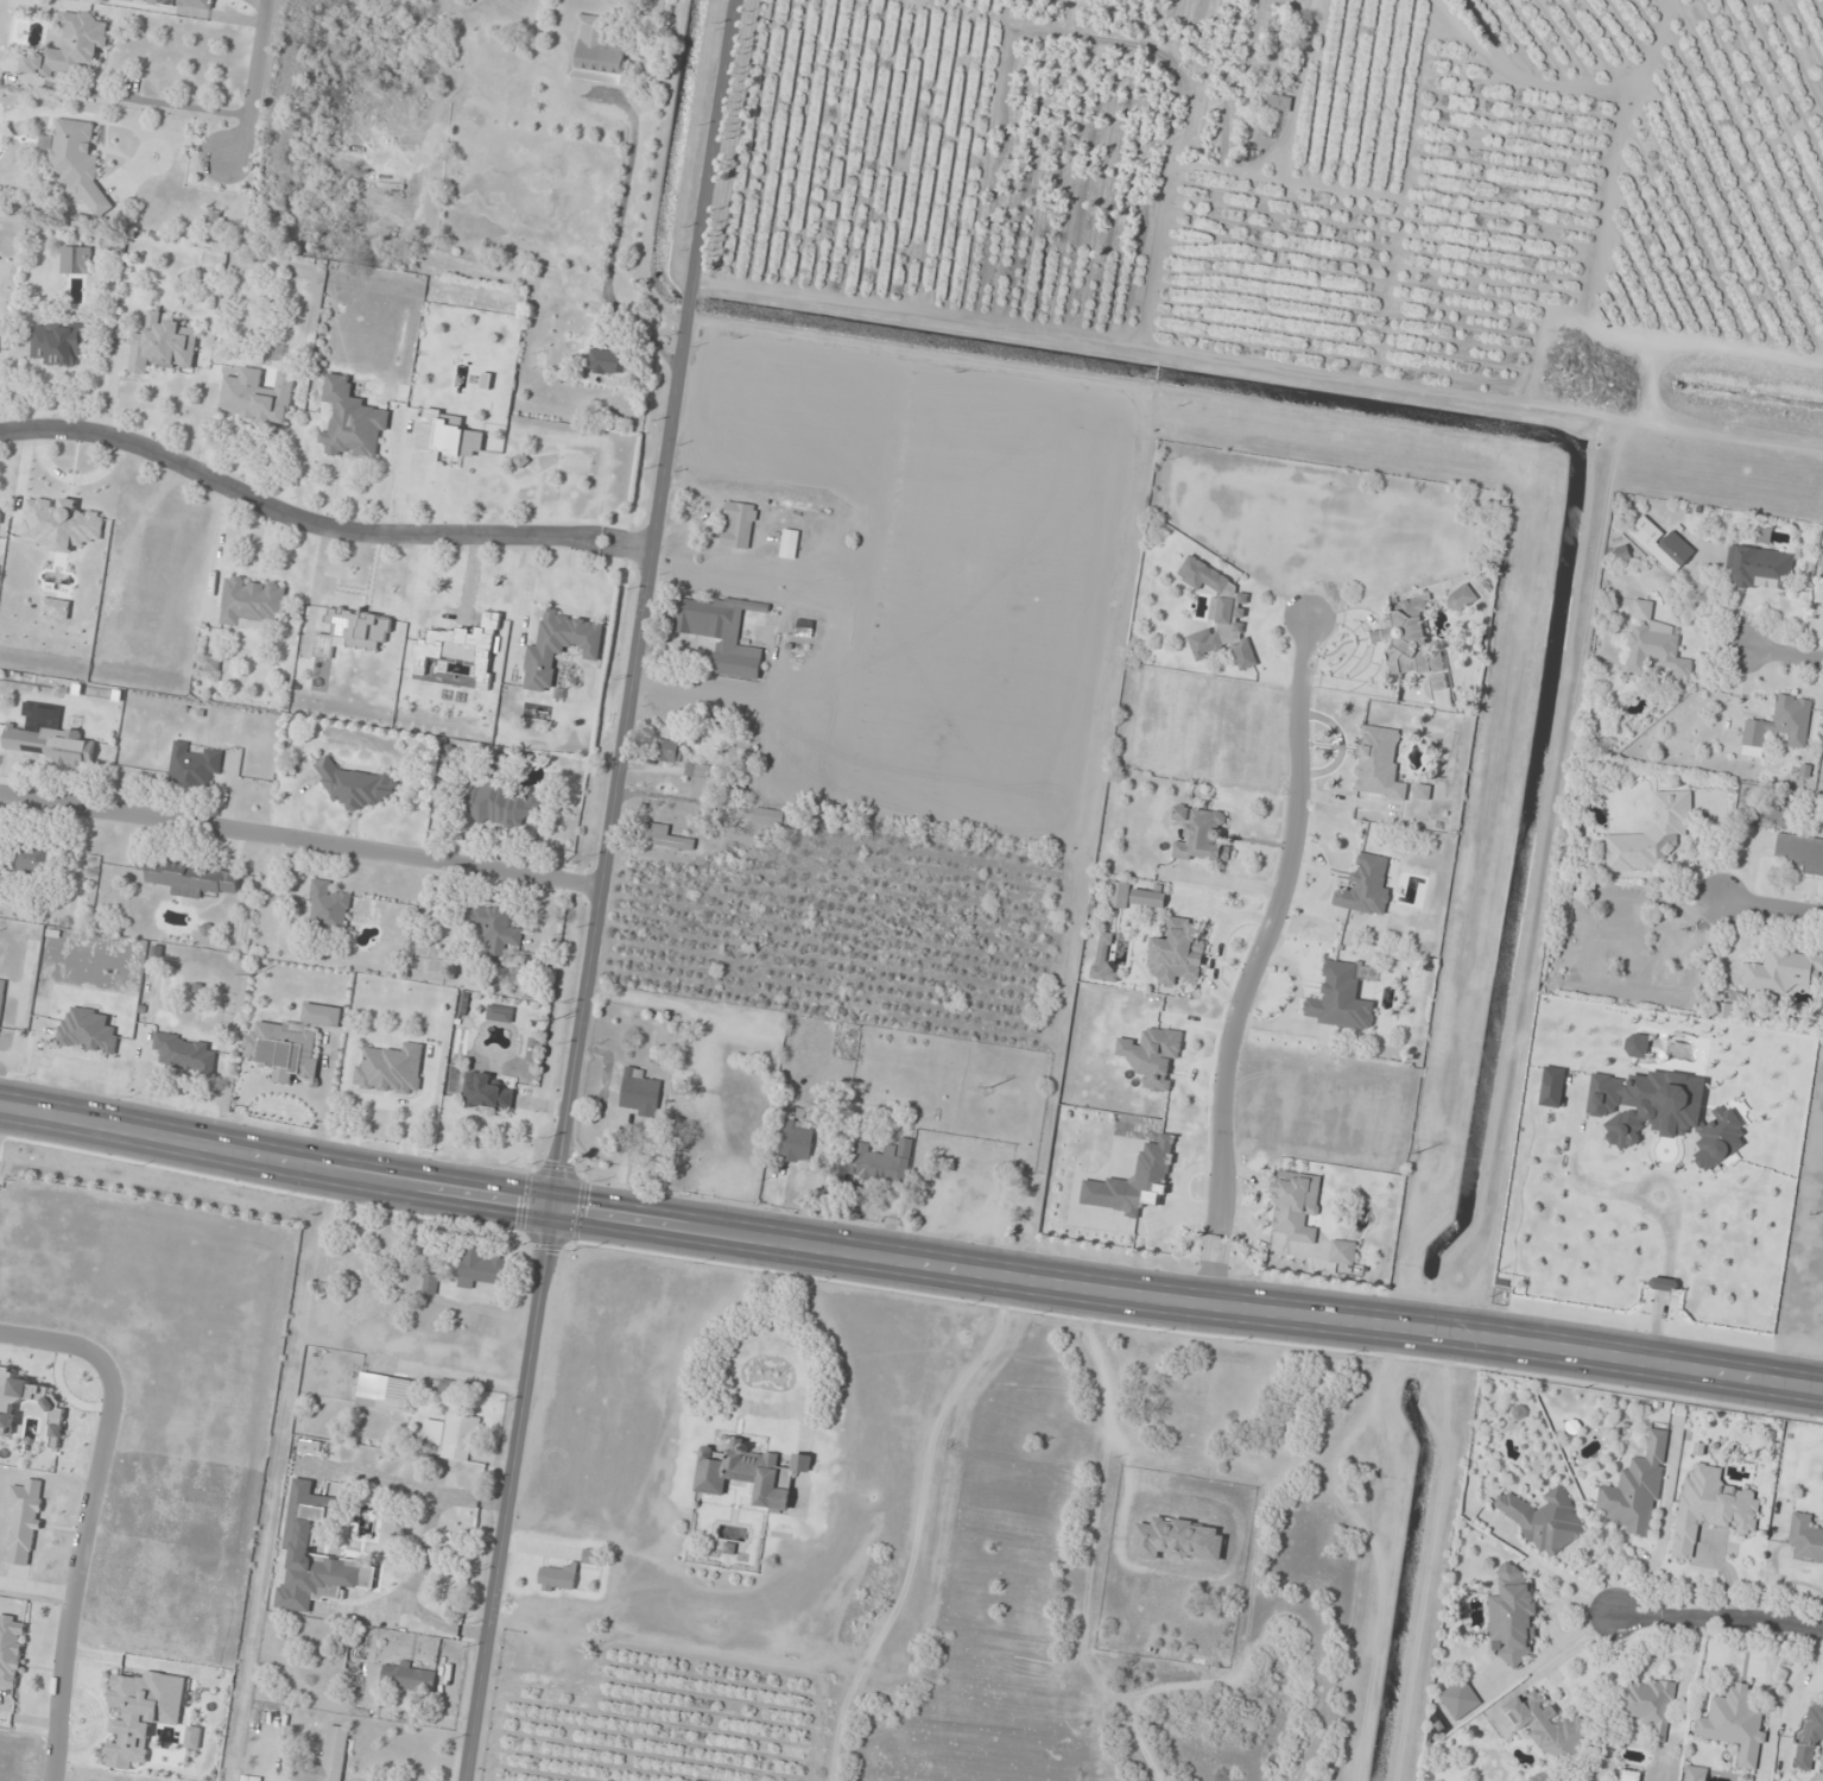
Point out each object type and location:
building: (70, 48)
building: (597, 52)
building: (1274, 103)
building: (77, 162)
building: (76, 260)
building: (59, 342)
building: (163, 346)
building: (273, 350)
building: (607, 361)
building: (260, 397)
building: (356, 431)
building: (0, 511)
road: (315, 525)
building: (739, 525)
building: (790, 544)
building: (1663, 544)
building: (1822, 566)
building: (1760, 568)
building: (1461, 599)
building: (252, 602)
building: (1642, 611)
building: (1221, 615)
building: (713, 618)
building: (1409, 640)
building: (463, 645)
building: (1656, 651)
building: (542, 653)
road: (1781, 653)
building: (738, 661)
building: (213, 663)
building: (1781, 722)
building: (46, 737)
building: (669, 751)
building: (502, 762)
building: (1379, 764)
building: (194, 765)
building: (356, 788)
building: (1423, 791)
building: (500, 806)
building: (772, 817)
building: (1201, 834)
building: (1654, 836)
building: (665, 838)
road: (298, 841)
building: (1798, 853)
building: (32, 858)
building: (191, 878)
building: (1366, 886)
road: (596, 889)
building: (1148, 898)
building: (329, 908)
road: (1775, 910)
building: (495, 929)
building: (1177, 953)
road: (1253, 958)
building: (1104, 962)
building: (1784, 970)
building: (1, 997)
building: (1340, 999)
building: (500, 1013)
building: (322, 1016)
building: (88, 1031)
building: (284, 1050)
building: (184, 1054)
building: (1152, 1055)
building: (682, 1080)
building: (486, 1093)
building: (639, 1093)
building: (798, 1137)
road: (277, 1156)
building: (1154, 1160)
building: (880, 1162)
building: (1296, 1206)
traffic signals: (553, 1210)
building: (1342, 1252)
building: (480, 1268)
building: (430, 1284)
road: (1188, 1299)
road: (63, 1341)
building: (387, 1392)
building: (454, 1436)
building: (310, 1447)
building: (747, 1473)
building: (1637, 1491)
building: (1713, 1508)
building: (1547, 1522)
building: (376, 1529)
building: (299, 1536)
building: (1805, 1539)
building: (1179, 1540)
building: (593, 1556)
building: (557, 1578)
road: (72, 1579)
building: (1513, 1615)
road: (1720, 1619)
building: (11, 1650)
building: (409, 1676)
building: (1460, 1699)
building: (1648, 1701)
building: (1735, 1724)
building: (1547, 1726)
building: (1809, 1733)
building: (329, 1758)
building: (1696, 1774)
building: (1629, 1775)
building: (1543, 1777)

